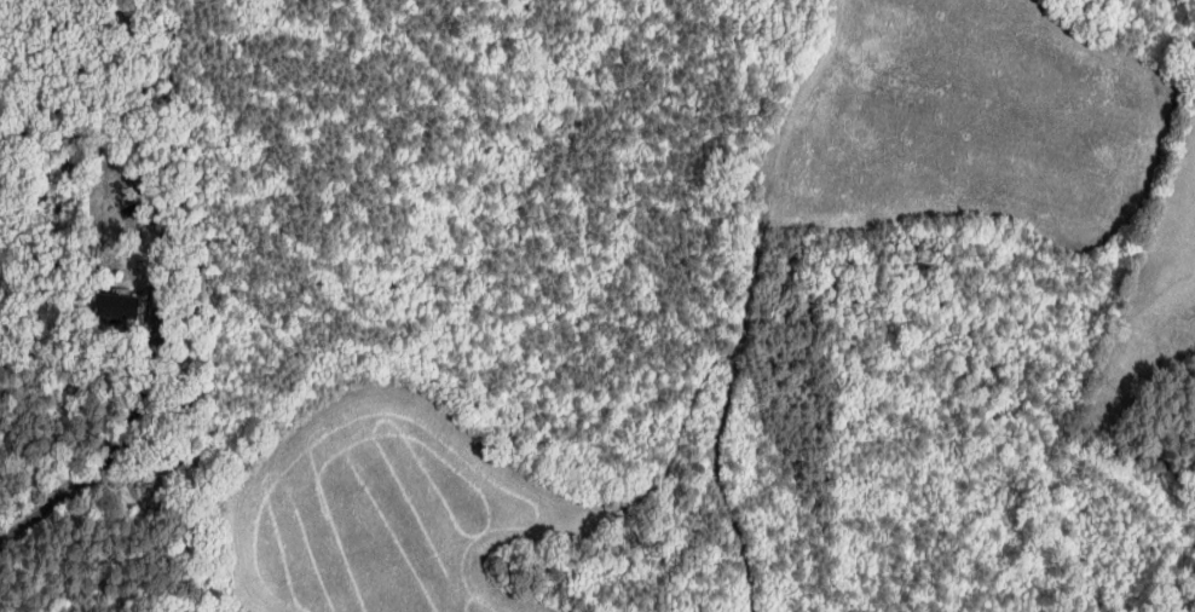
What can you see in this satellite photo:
building: (117, 306)
road: (100, 460)

